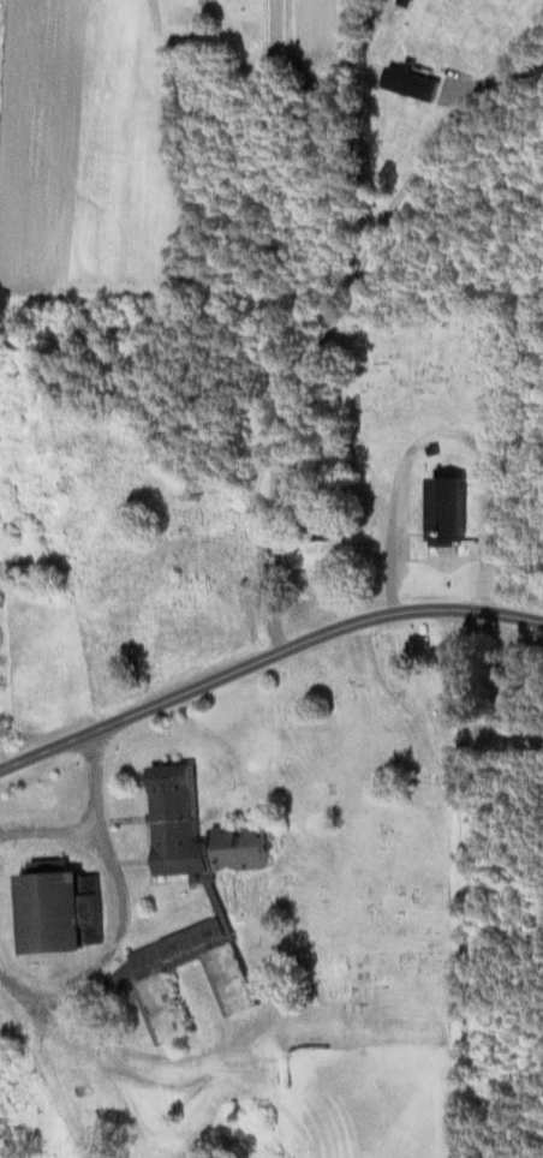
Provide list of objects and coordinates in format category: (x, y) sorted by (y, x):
road: (341, 308)
road: (442, 434)
building: (453, 513)
road: (264, 656)
road: (4, 757)
building: (175, 798)
road: (48, 830)
road: (448, 882)
building: (233, 899)
road: (121, 906)
building: (64, 913)
building: (141, 985)

